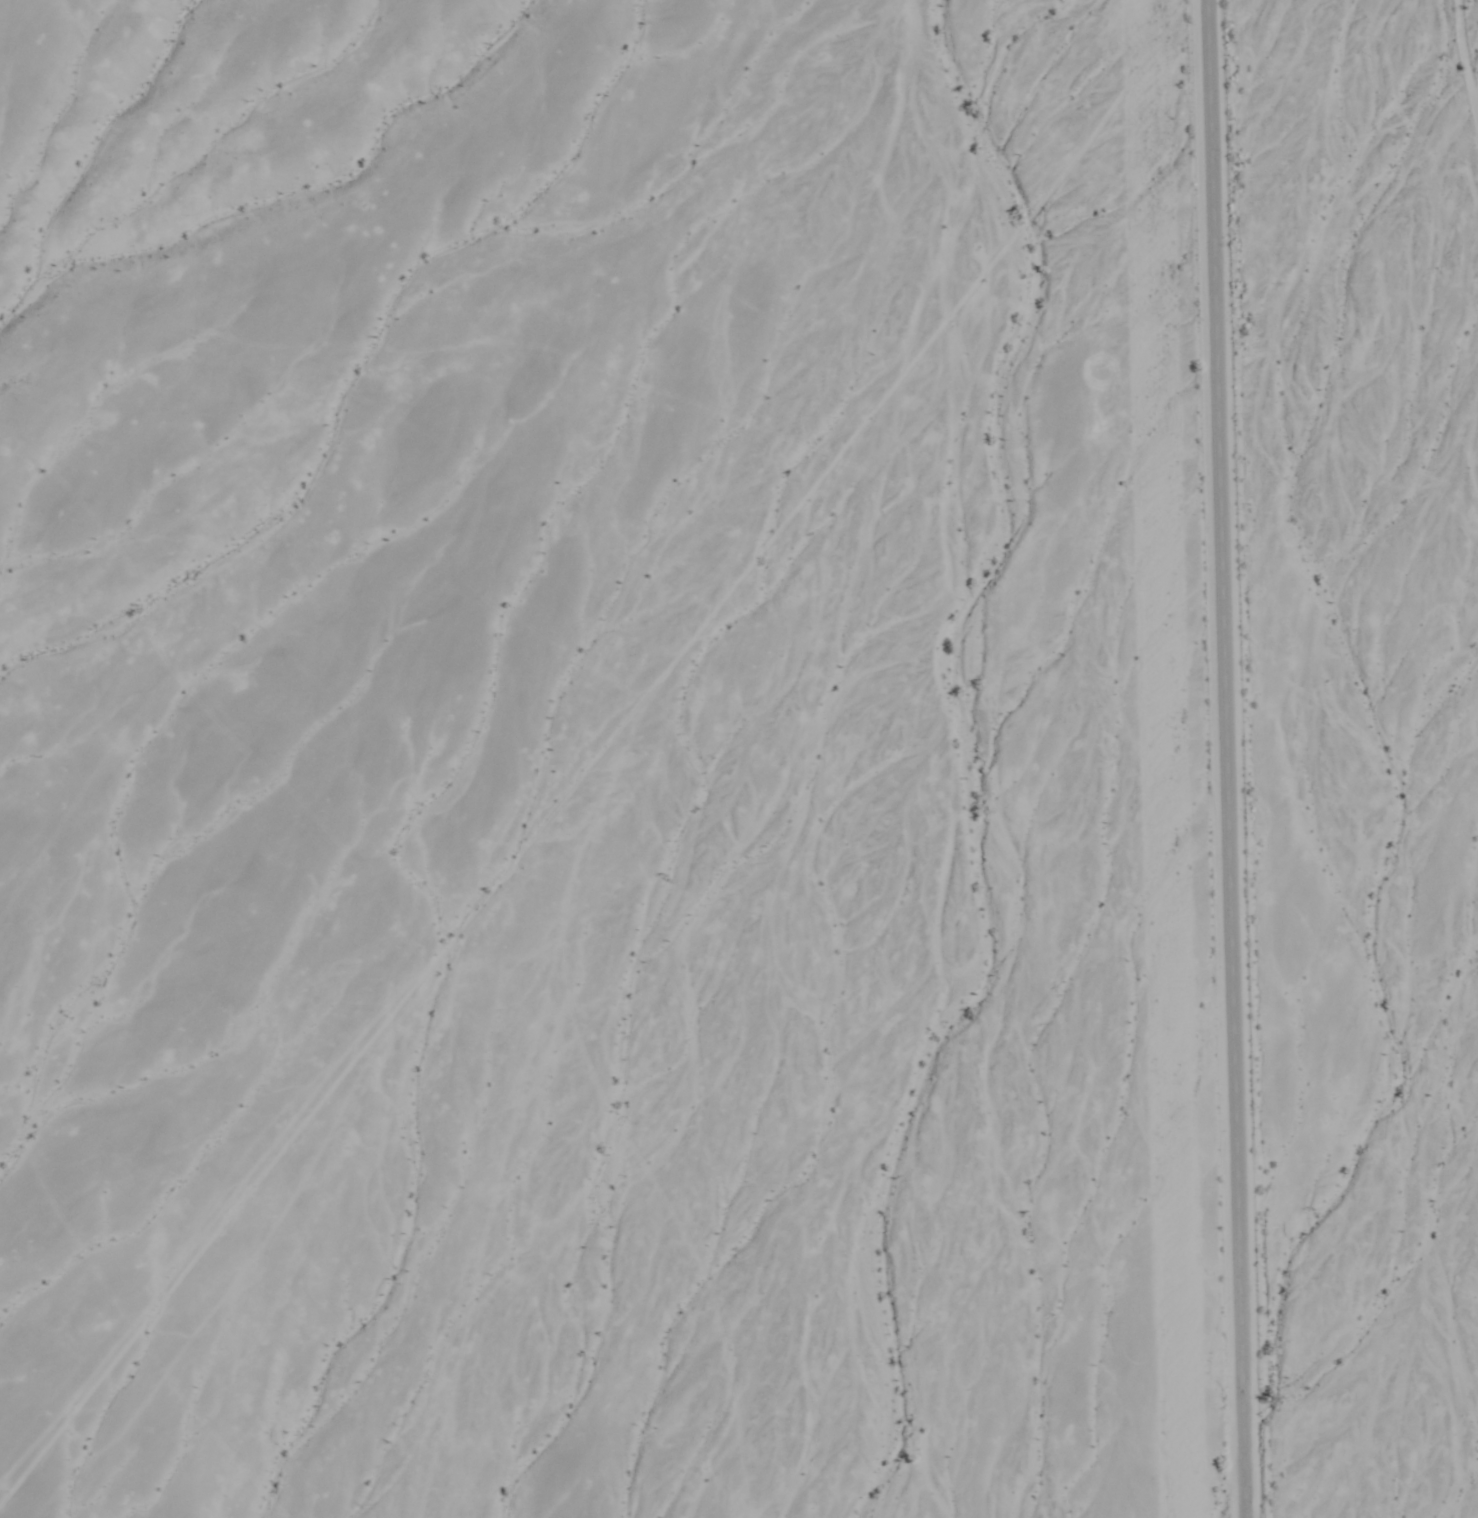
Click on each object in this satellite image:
road: (1465, 60)
road: (1227, 758)

